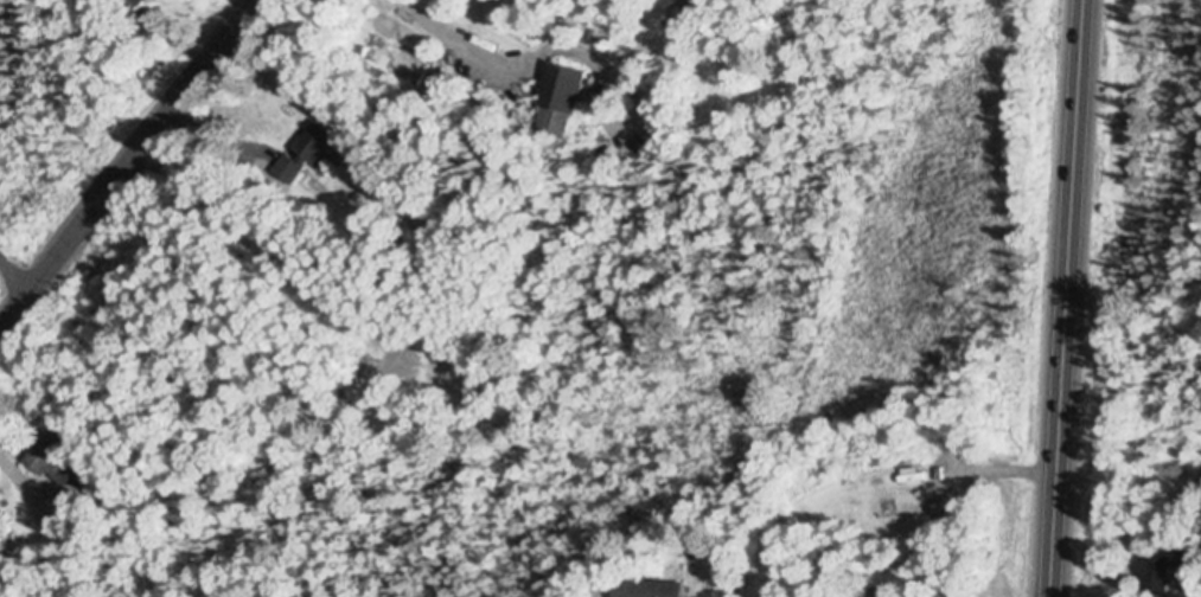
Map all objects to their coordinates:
building: (400, 63)
building: (554, 91)
building: (321, 140)
road: (128, 166)
road: (1067, 298)
building: (56, 458)
building: (1160, 573)
building: (644, 590)
building: (882, 593)

